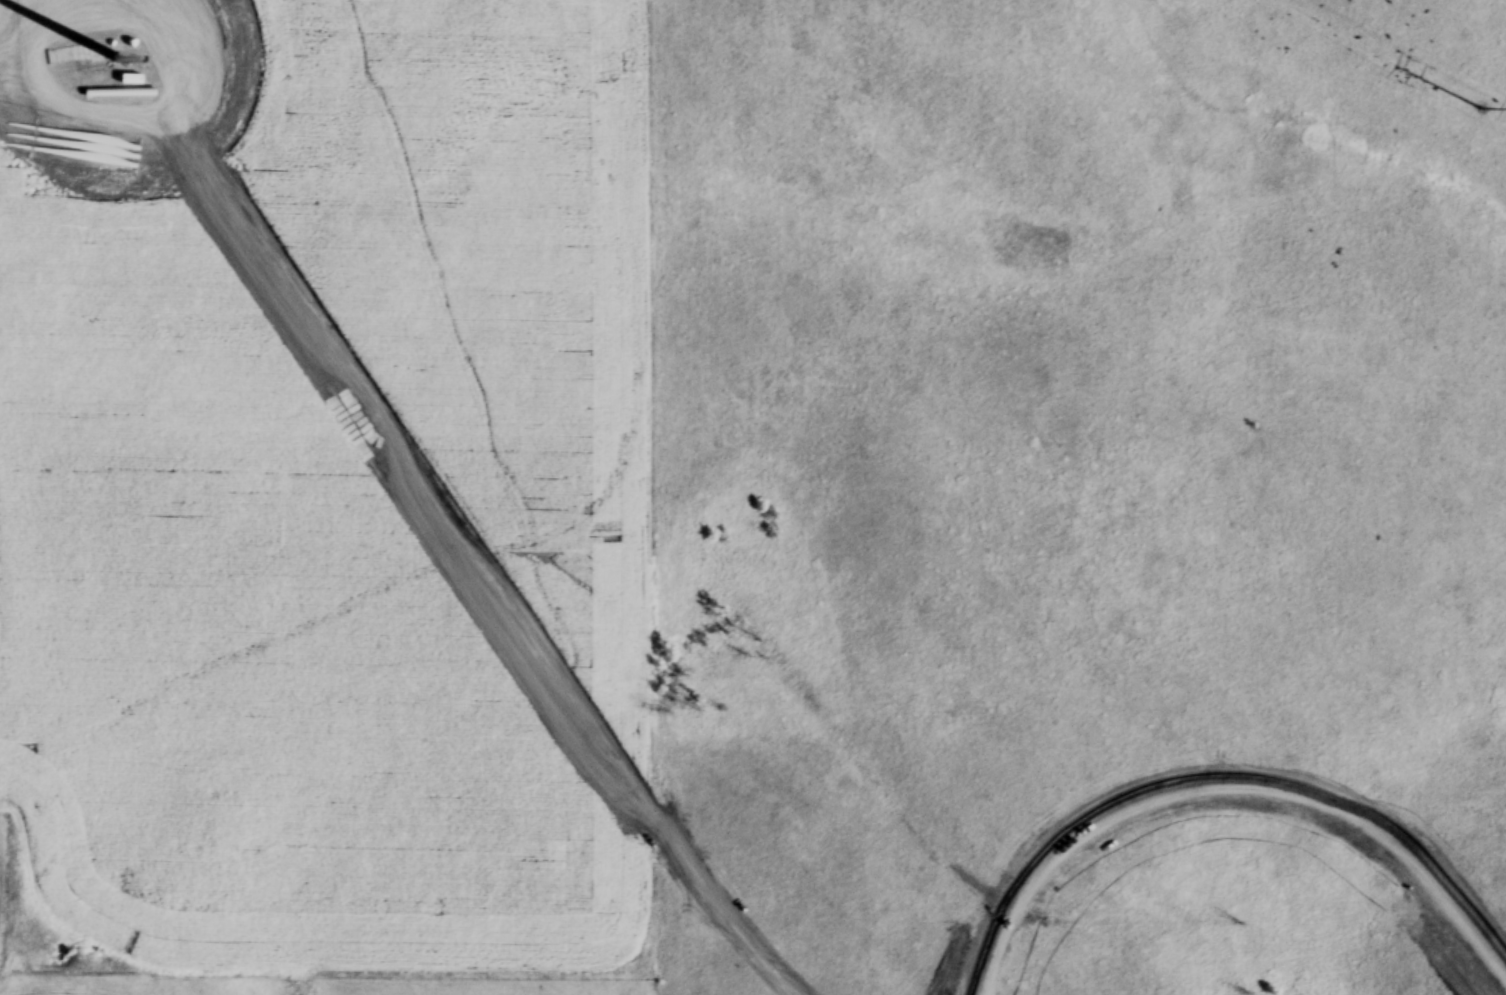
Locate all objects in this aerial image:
wind turbine: (112, 53)
power tower: (1485, 111)

